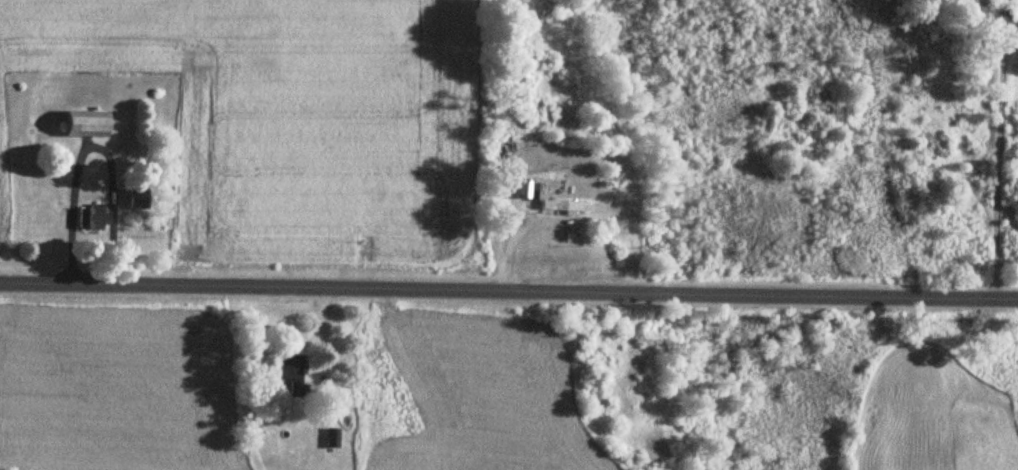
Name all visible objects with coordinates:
building: (995, 13)
building: (90, 125)
road: (94, 145)
road: (997, 158)
building: (139, 201)
building: (565, 207)
building: (96, 220)
road: (91, 248)
road: (508, 293)
building: (334, 438)

